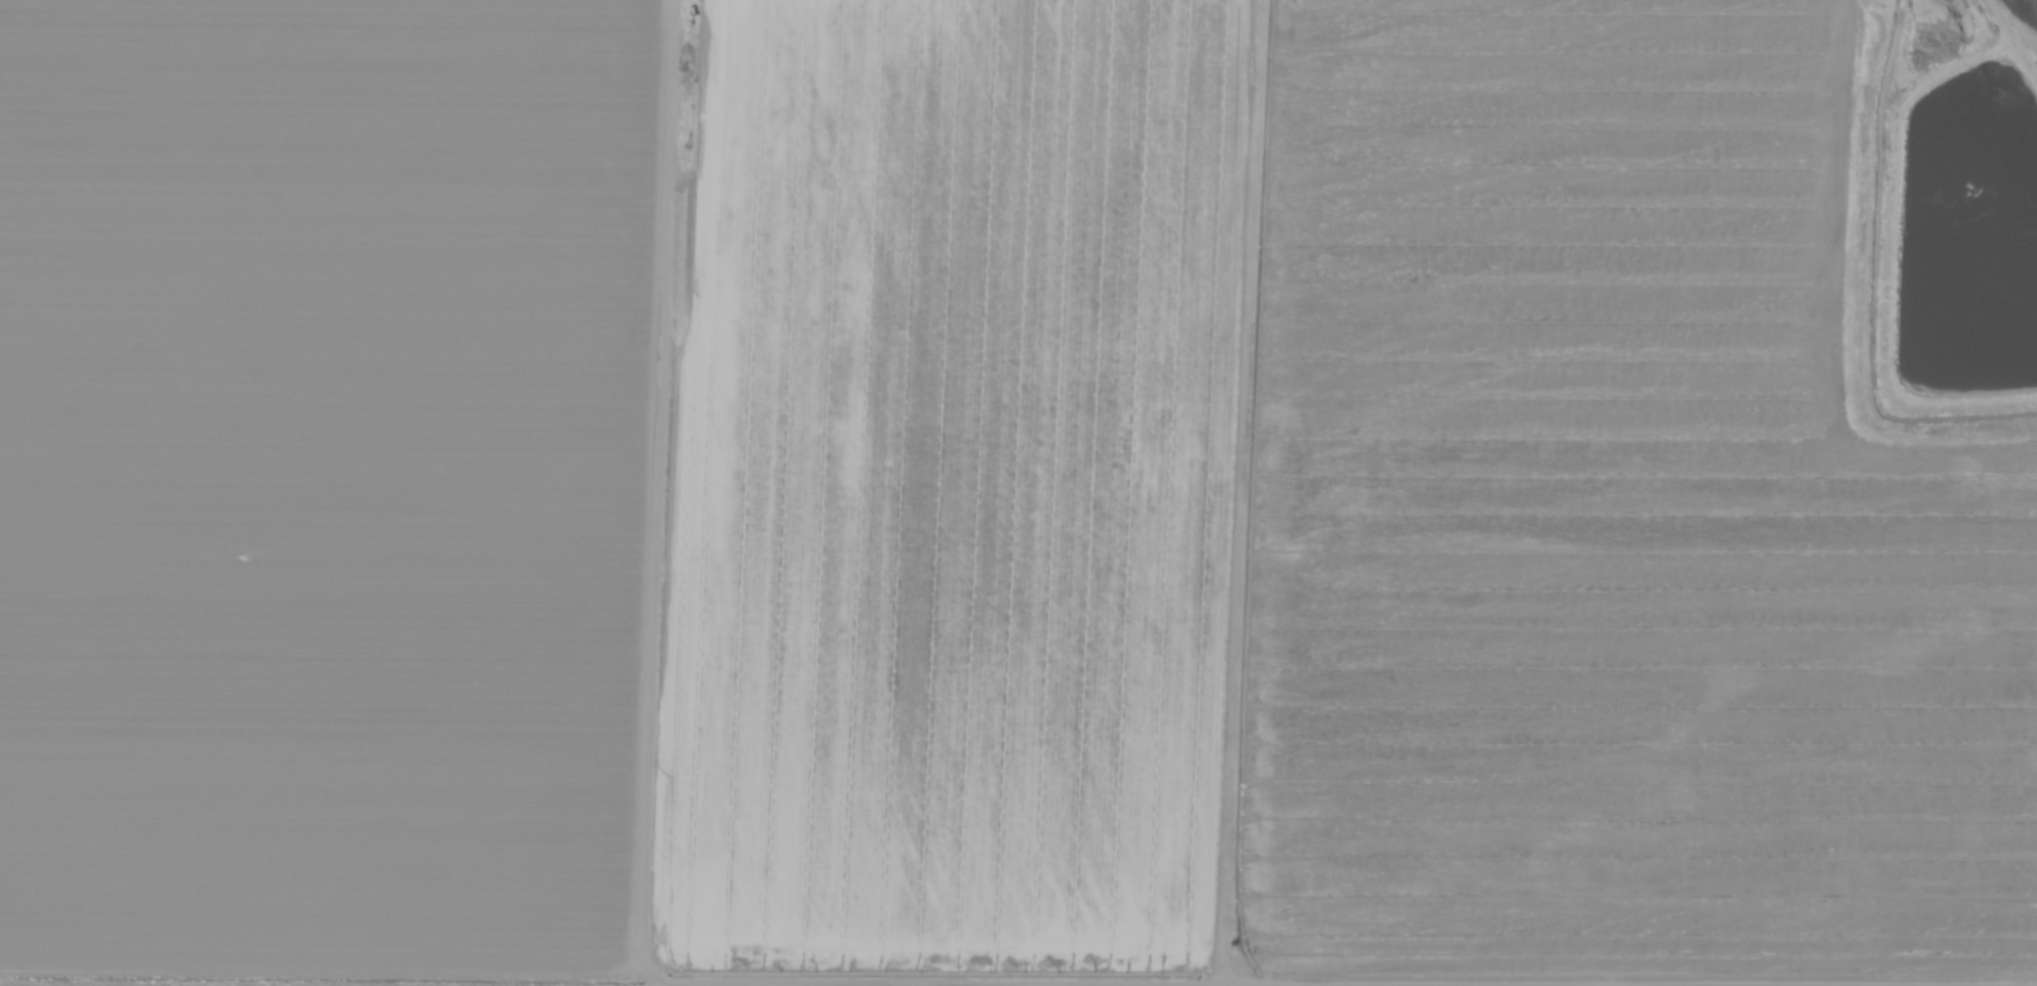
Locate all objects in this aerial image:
crop: (984, 503)

